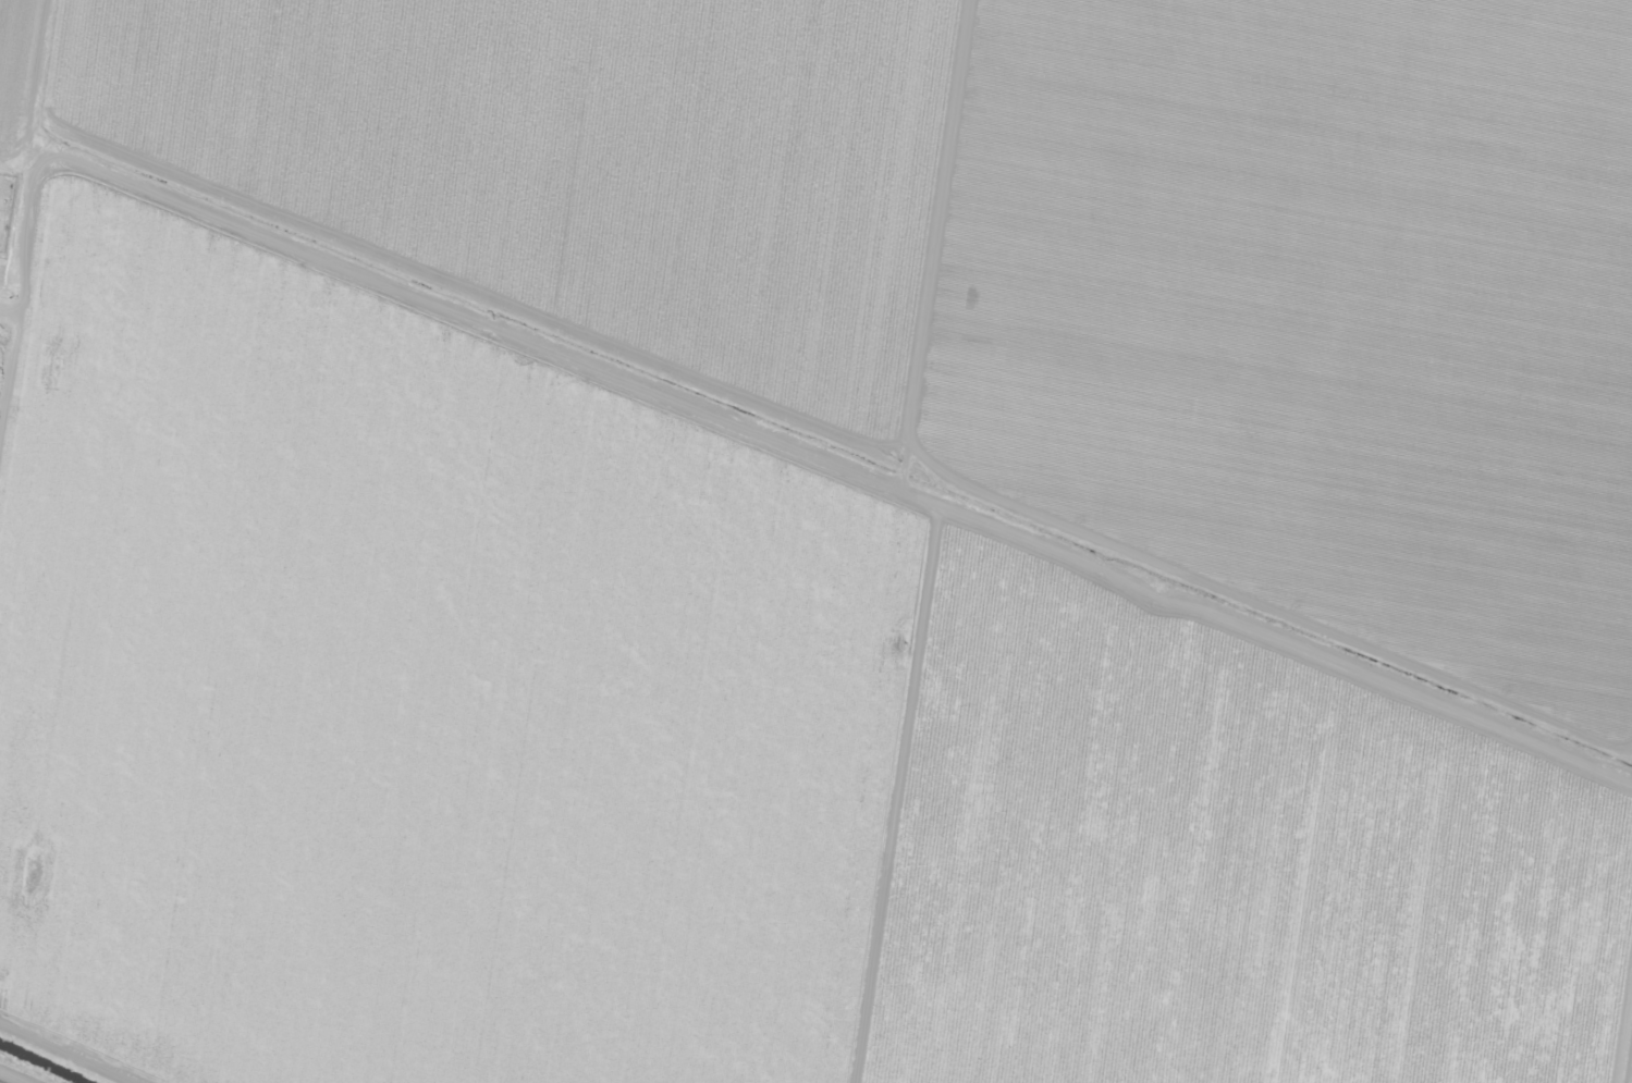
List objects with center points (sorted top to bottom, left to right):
road: (11, 370)
road: (726, 579)
road: (24, 795)
river: (42, 1062)

